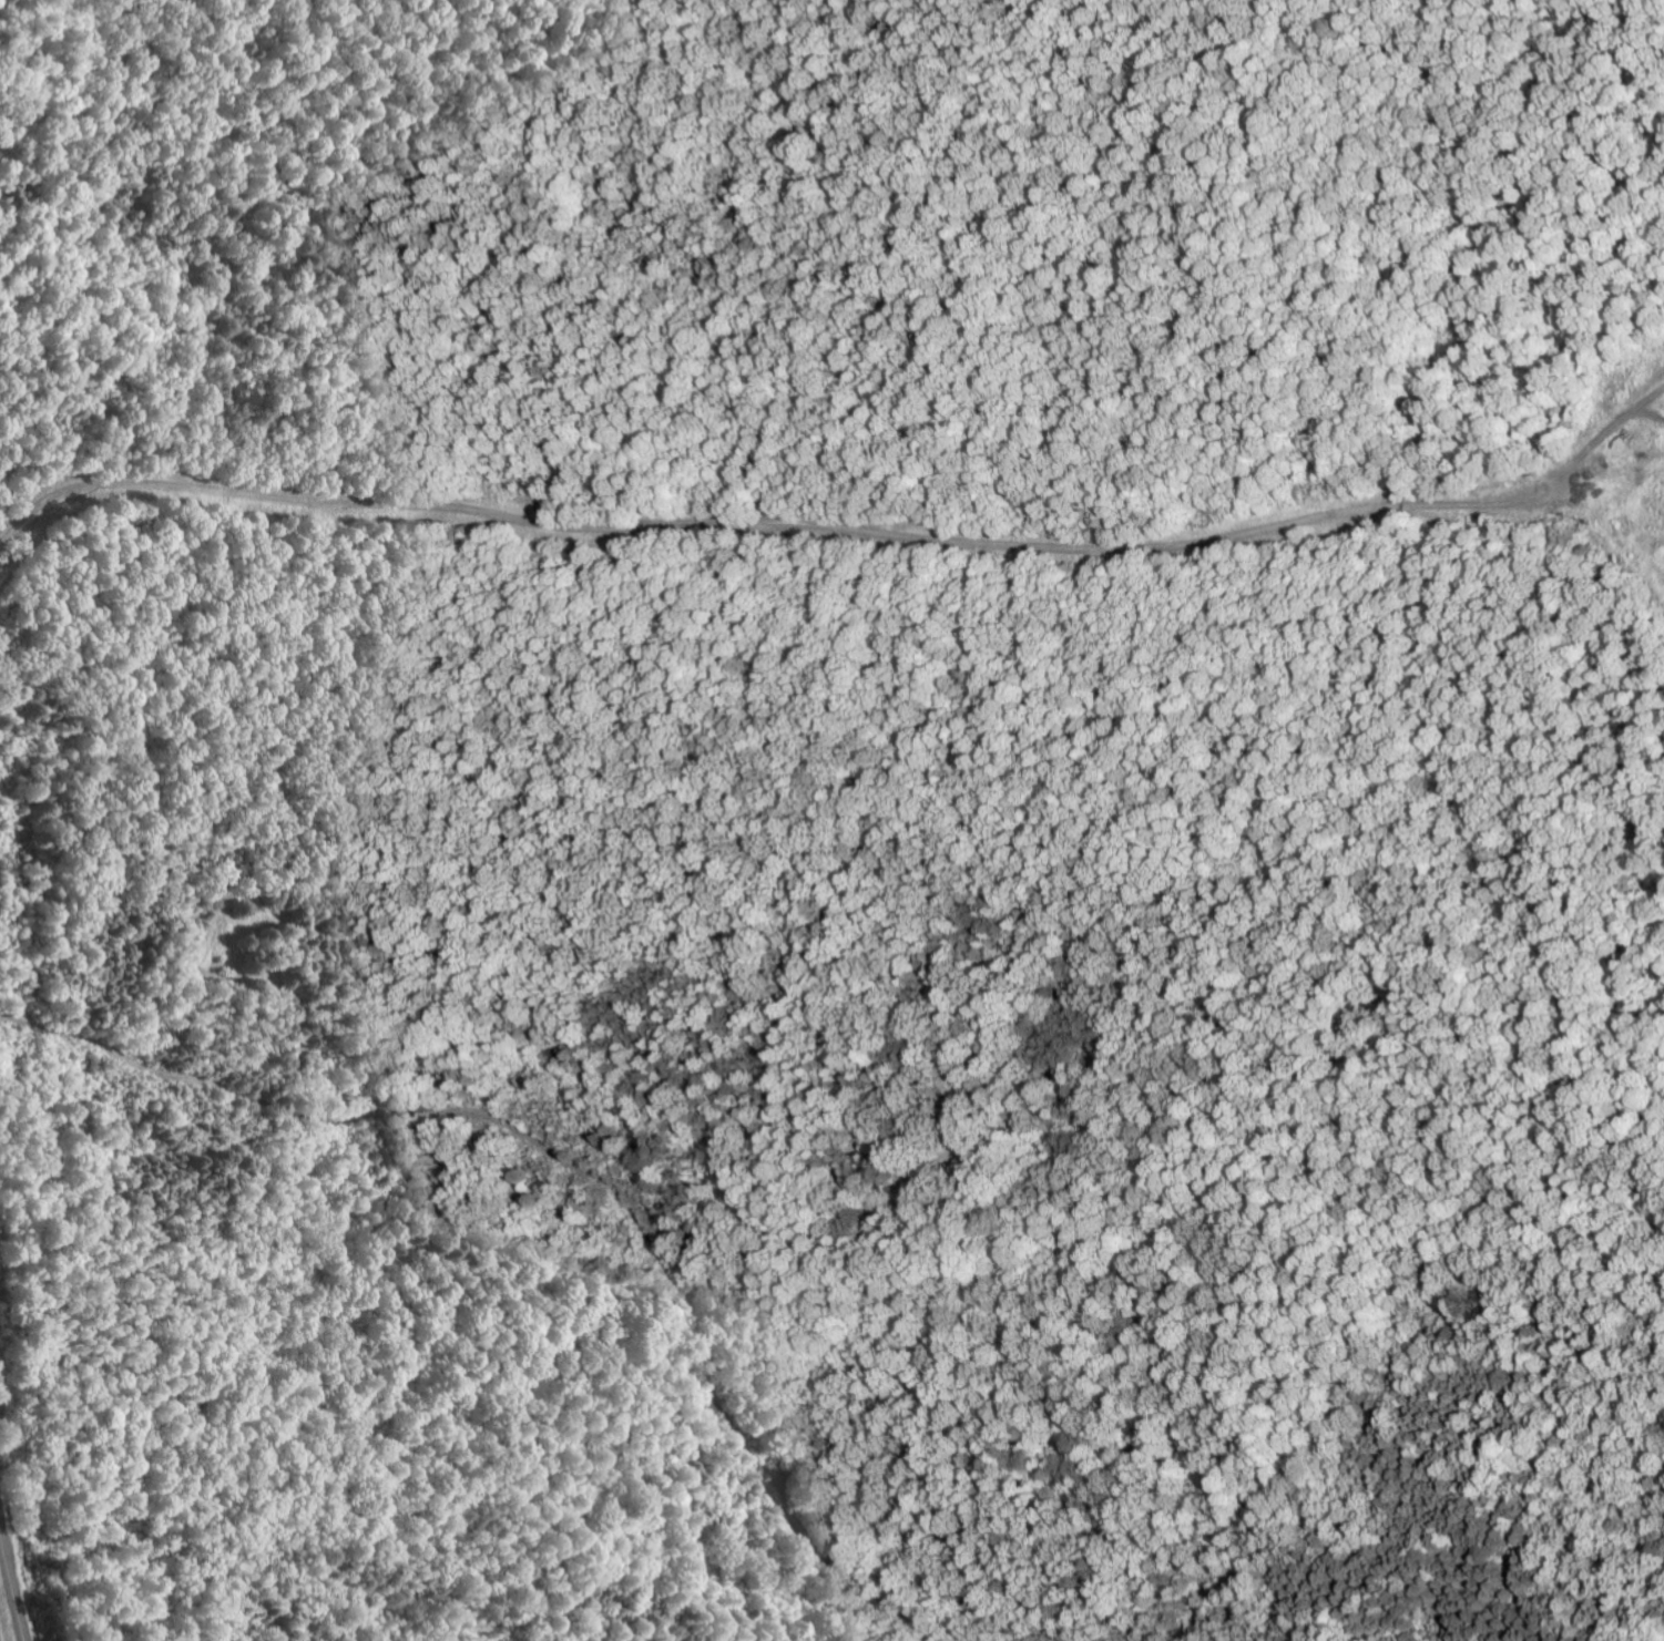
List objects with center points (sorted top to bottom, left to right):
road: (835, 531)
road: (13, 1577)

